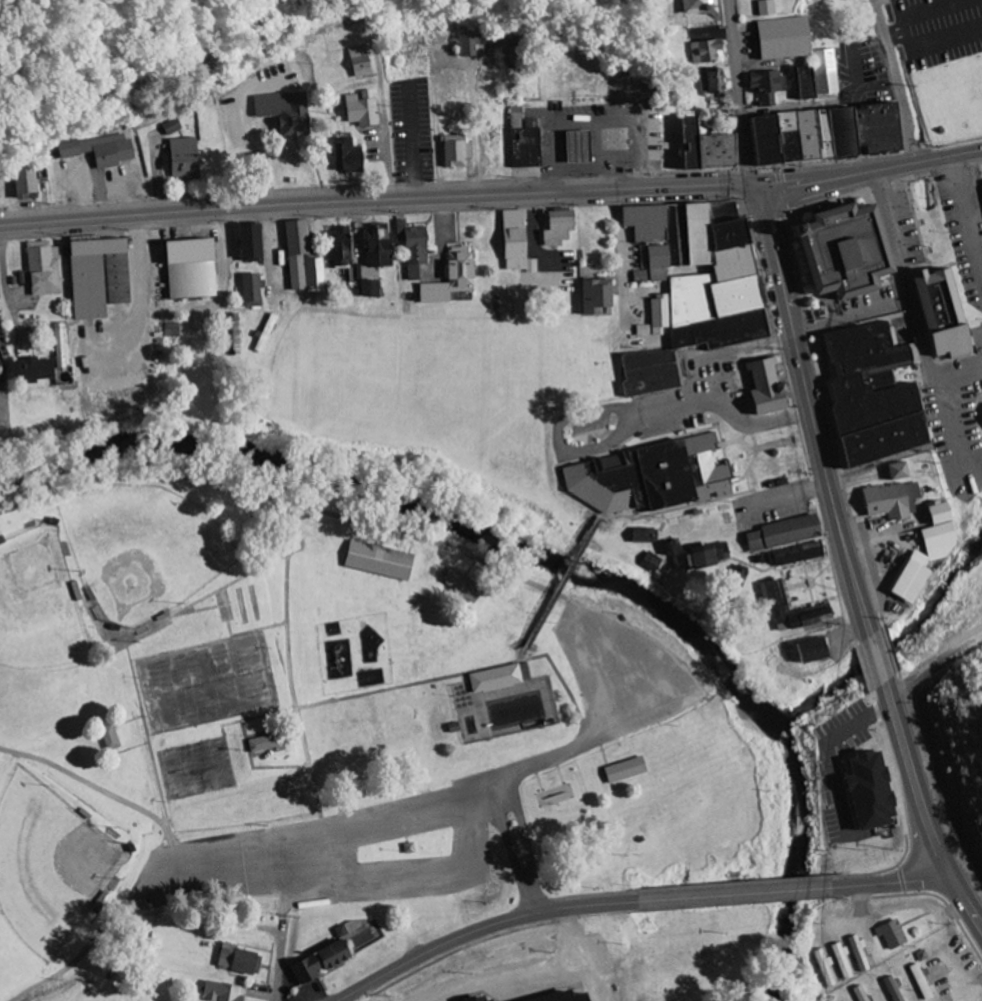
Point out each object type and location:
building: (693, 6)
building: (763, 8)
building: (780, 38)
road: (889, 41)
building: (467, 46)
building: (705, 52)
building: (357, 62)
building: (826, 72)
building: (711, 81)
building: (800, 81)
building: (765, 86)
road: (741, 96)
road: (823, 99)
building: (361, 109)
building: (283, 112)
road: (911, 122)
building: (172, 128)
building: (819, 134)
building: (691, 143)
building: (528, 145)
building: (579, 147)
building: (100, 150)
building: (718, 151)
building: (454, 152)
building: (346, 156)
building: (181, 159)
road: (867, 172)
building: (25, 183)
road: (376, 200)
building: (556, 229)
building: (245, 242)
building: (513, 244)
building: (375, 246)
building: (335, 247)
building: (411, 249)
building: (838, 251)
building: (300, 260)
building: (41, 269)
building: (186, 269)
building: (95, 277)
building: (638, 277)
building: (449, 278)
building: (362, 285)
building: (689, 289)
building: (249, 291)
building: (593, 296)
road: (914, 299)
building: (936, 315)
building: (264, 334)
building: (229, 335)
building: (56, 346)
building: (29, 371)
building: (764, 388)
building: (868, 395)
road: (812, 414)
building: (644, 477)
building: (888, 501)
building: (779, 534)
building: (935, 534)
building: (644, 535)
building: (0, 542)
building: (670, 547)
building: (792, 555)
river: (549, 558)
building: (376, 561)
building: (648, 562)
building: (711, 563)
building: (905, 582)
building: (459, 587)
building: (771, 595)
building: (808, 651)
road: (877, 661)
road: (935, 668)
parking lot: (623, 676)
building: (492, 680)
park: (327, 722)
building: (105, 738)
building: (257, 745)
building: (622, 771)
building: (863, 792)
road: (436, 797)
road: (922, 809)
road: (518, 847)
building: (407, 849)
parking lot: (344, 857)
road: (637, 902)
road: (284, 920)
building: (889, 935)
building: (856, 955)
building: (237, 961)
building: (840, 962)
building: (315, 964)
building: (824, 969)
building: (919, 983)
building: (890, 989)
building: (220, 993)
building: (858, 994)
building: (559, 998)

